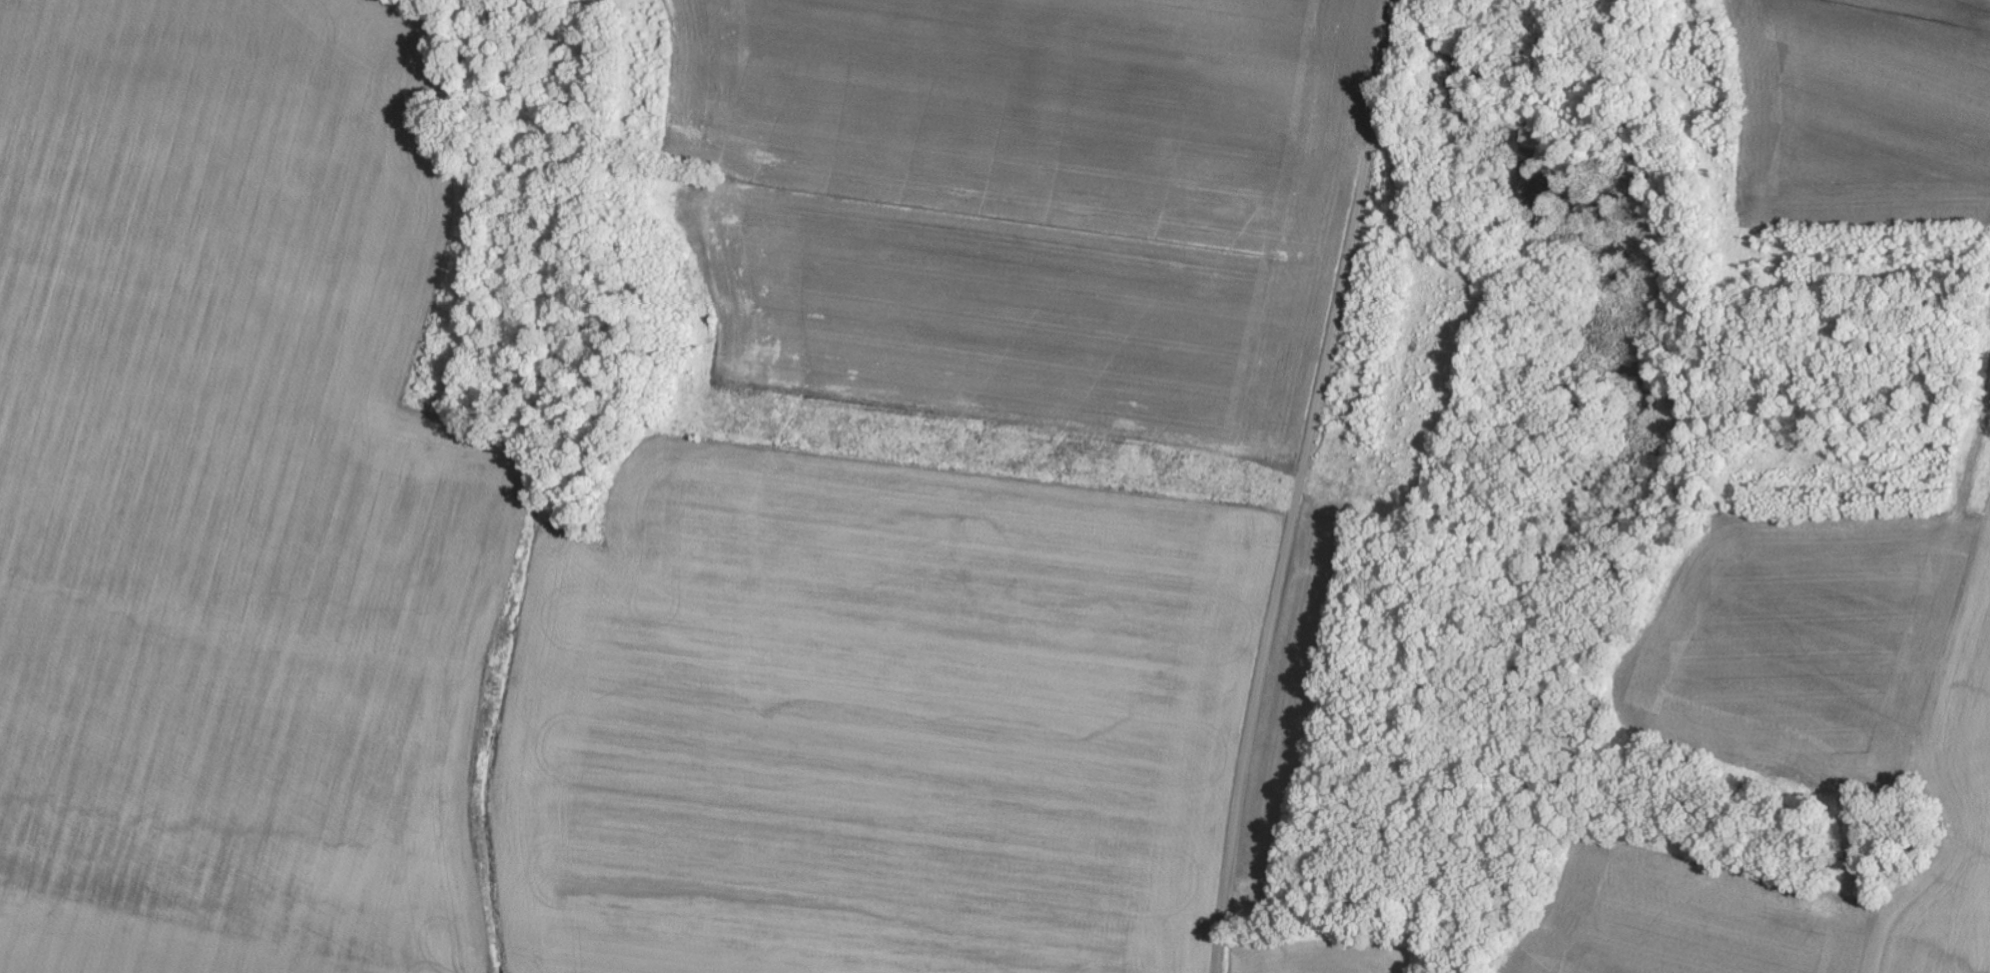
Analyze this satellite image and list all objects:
road: (1298, 485)

